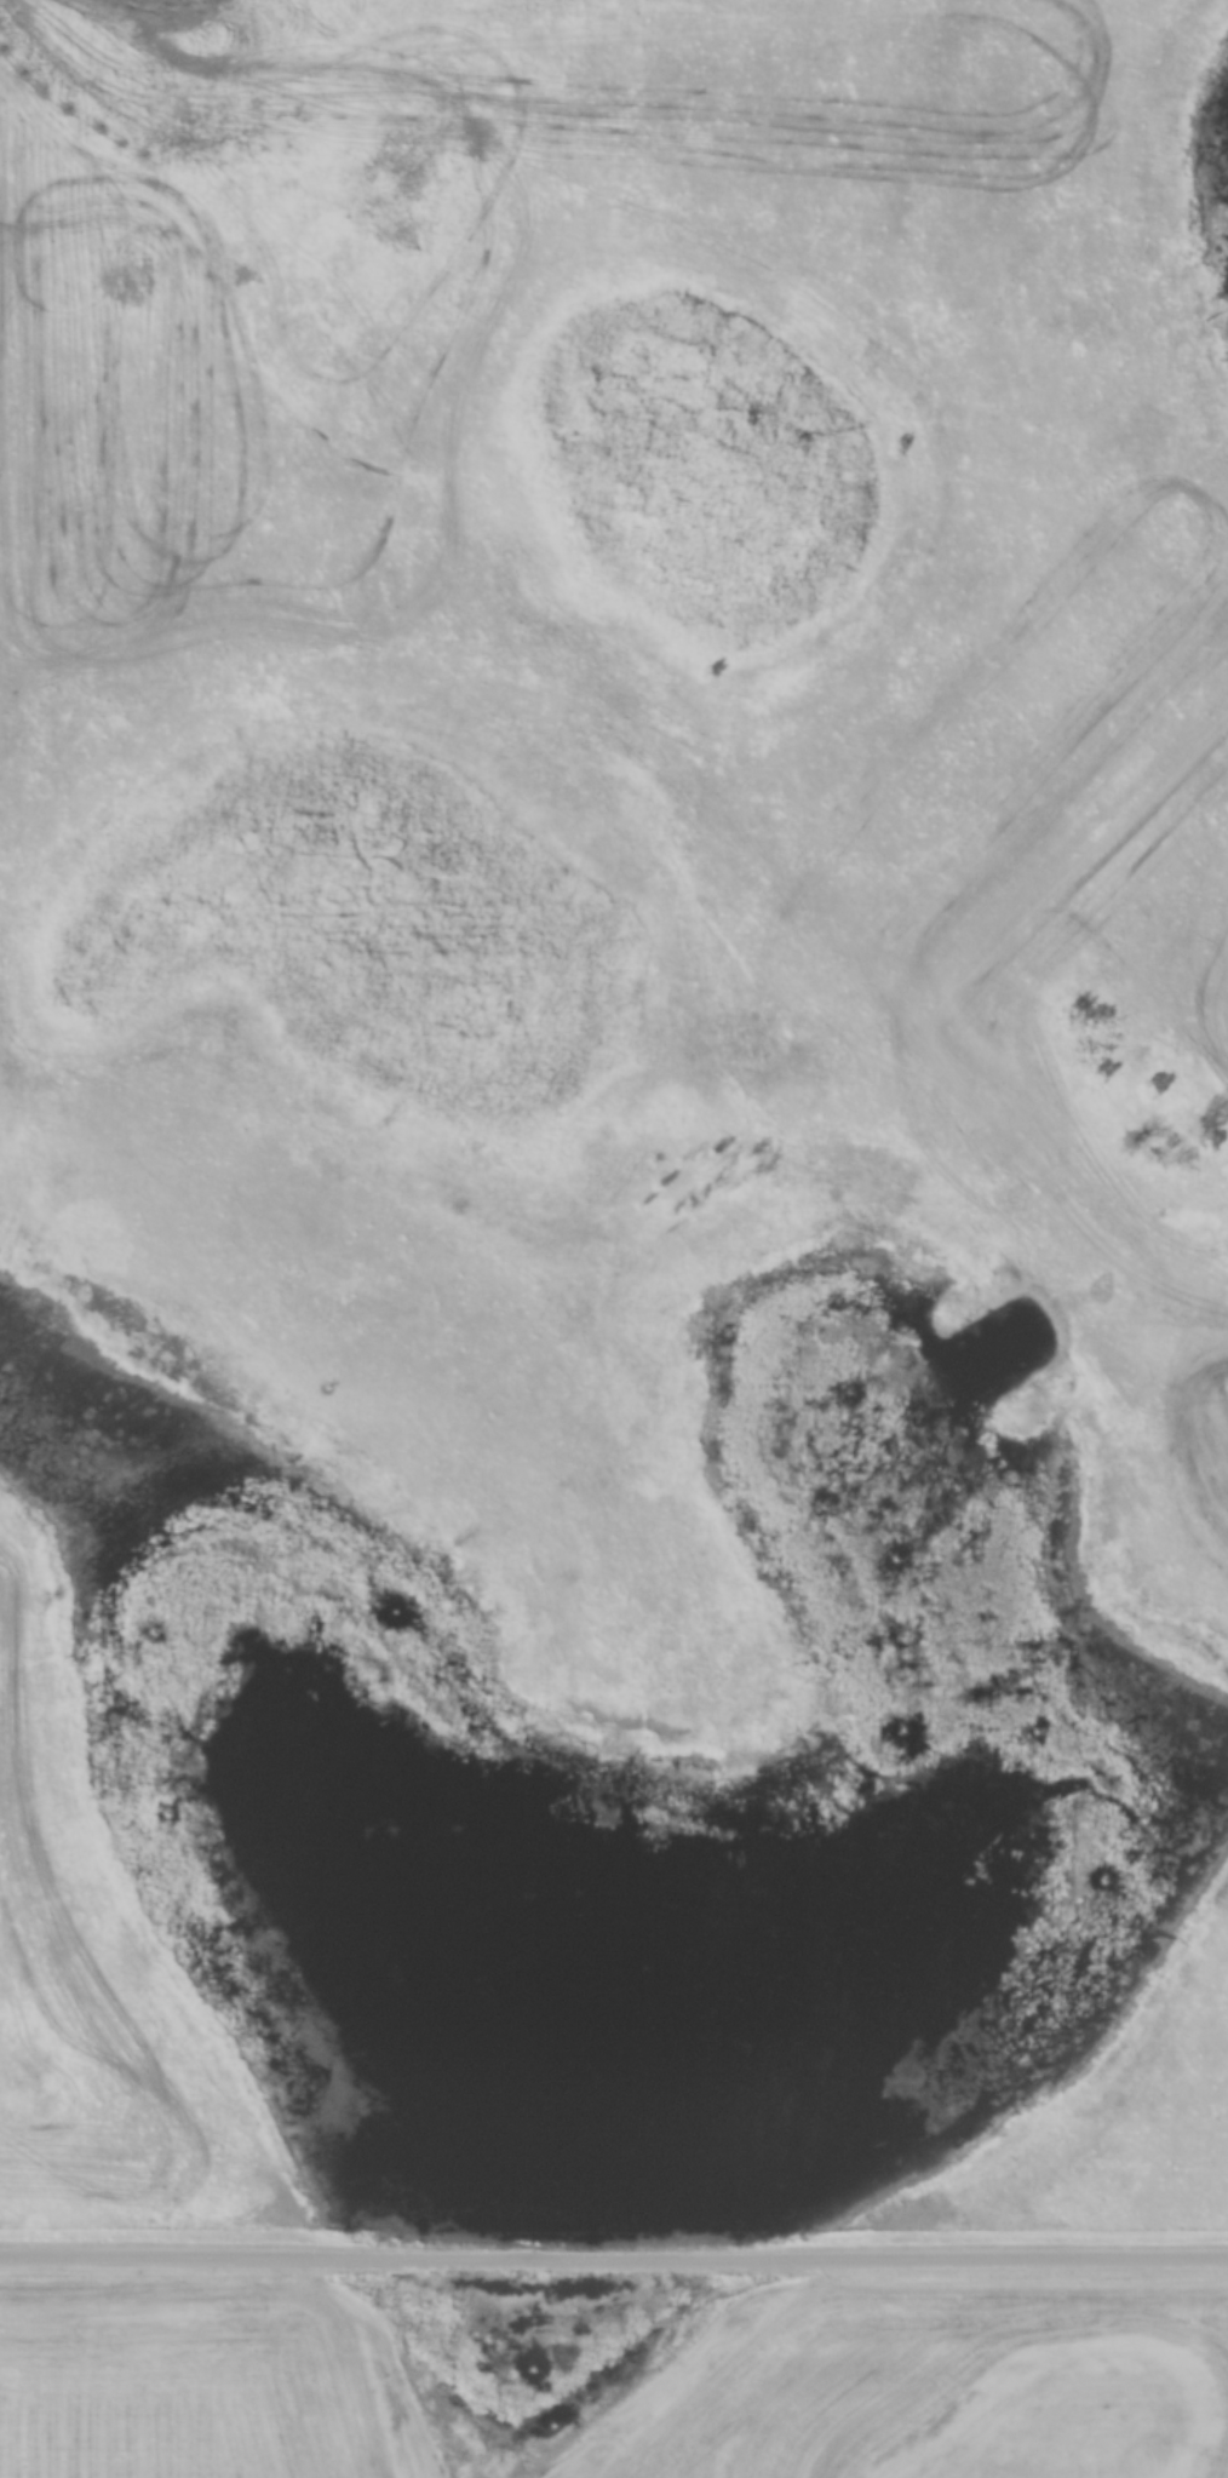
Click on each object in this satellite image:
road: (614, 2260)

